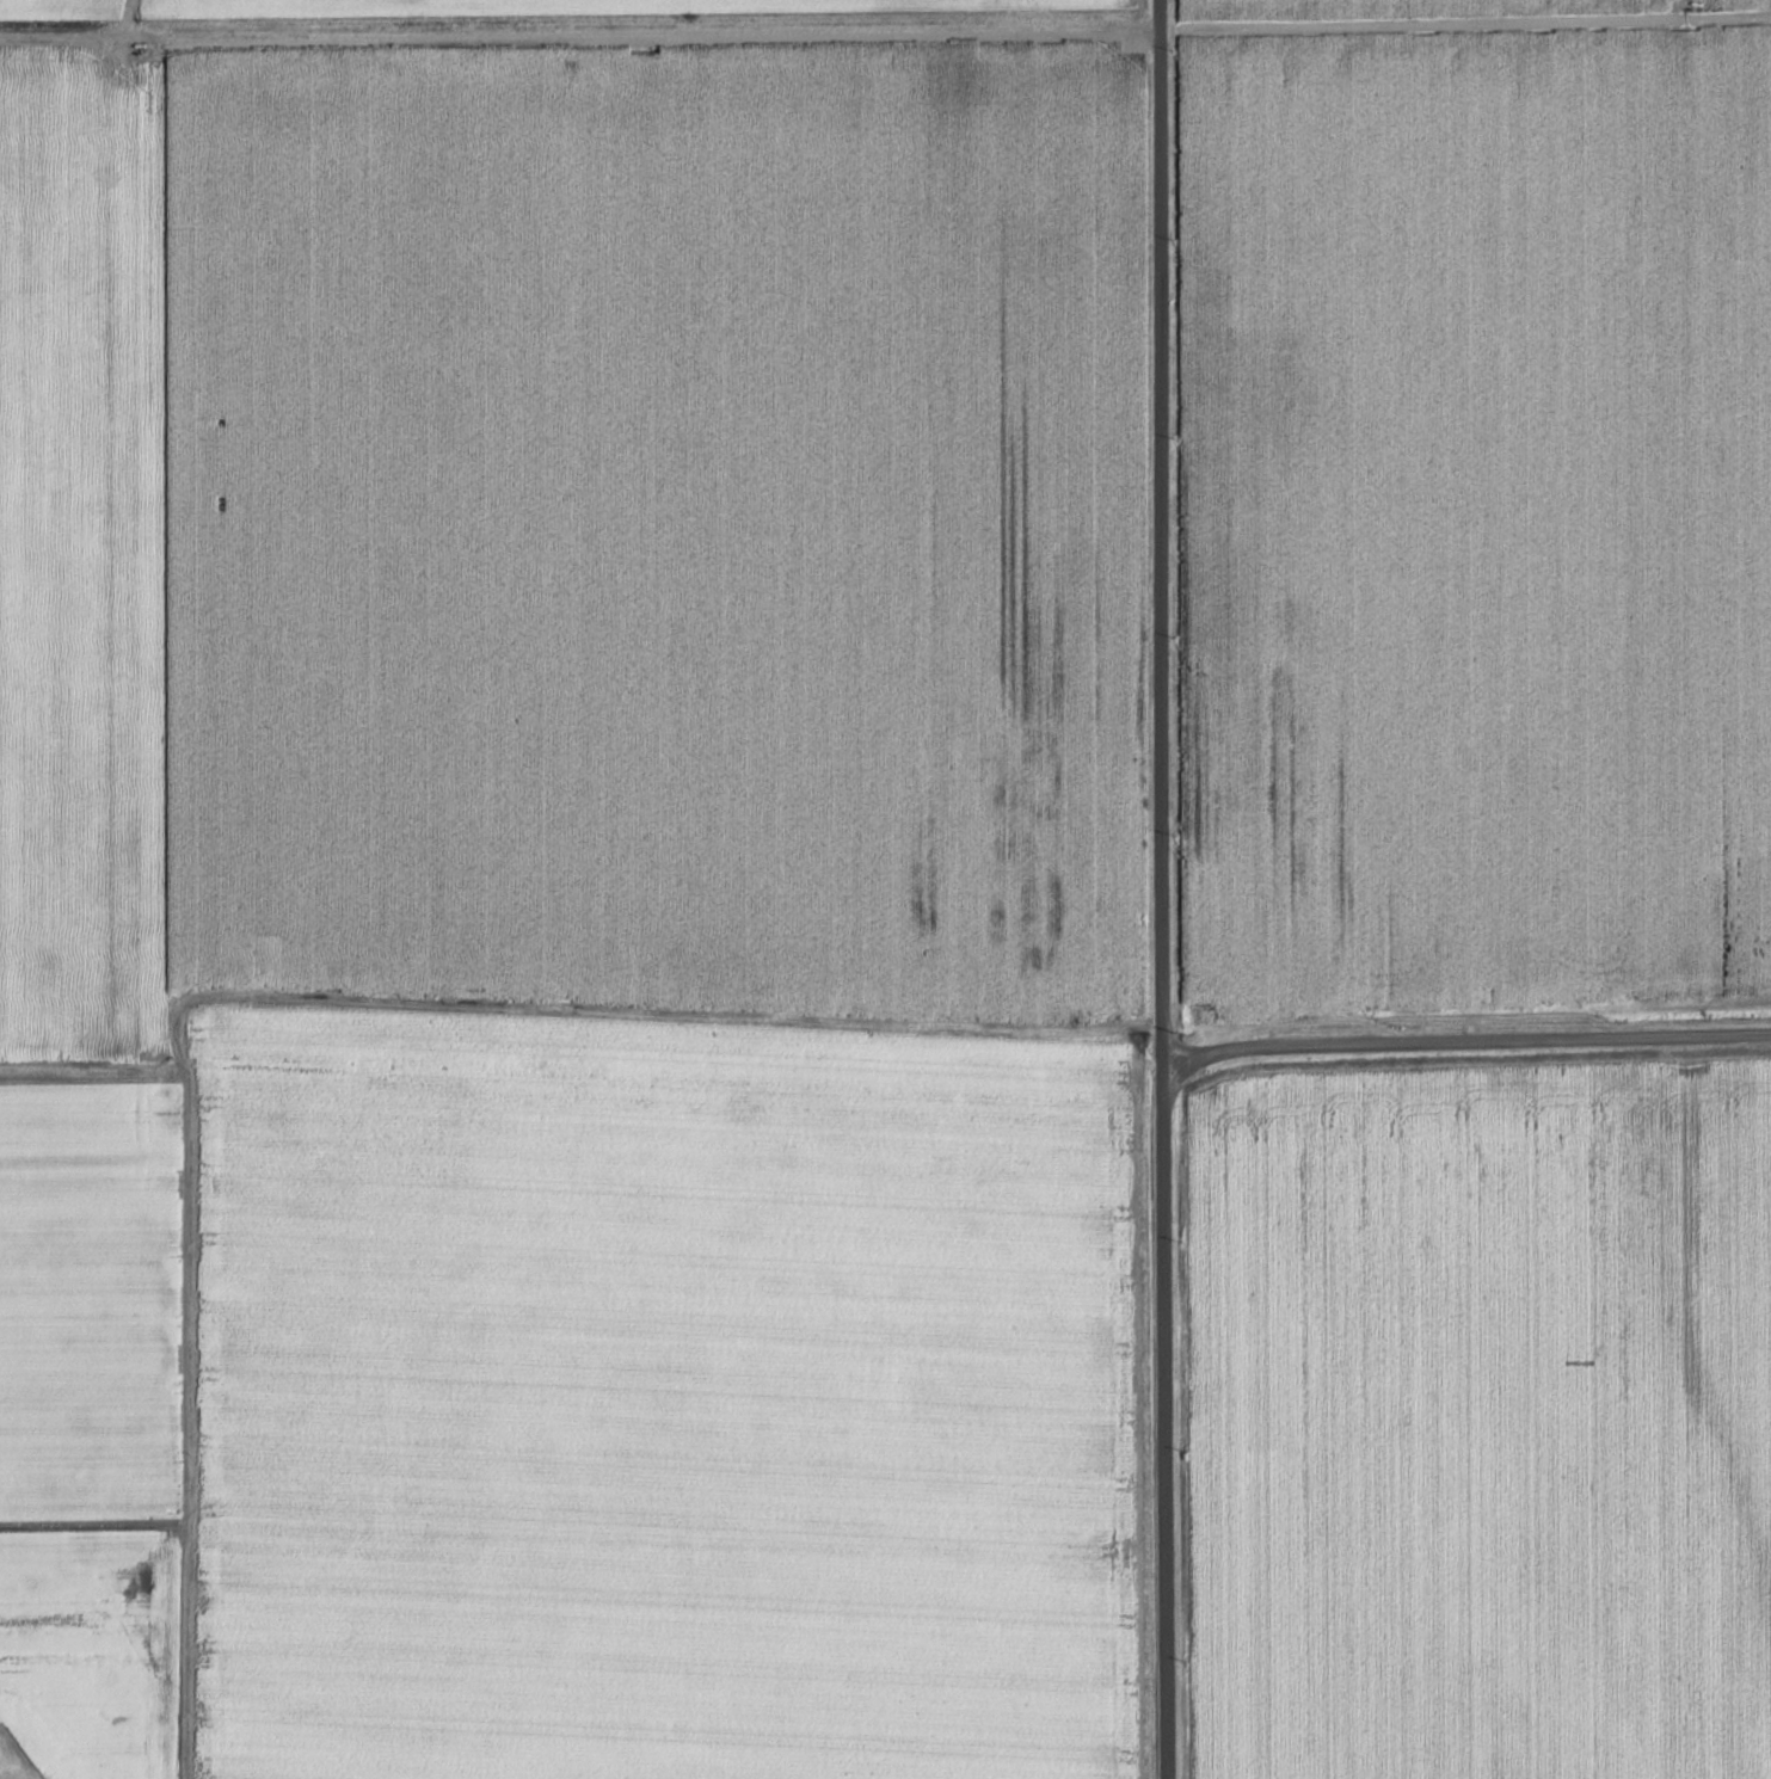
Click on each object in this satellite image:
road: (1157, 889)
road: (1463, 1039)

